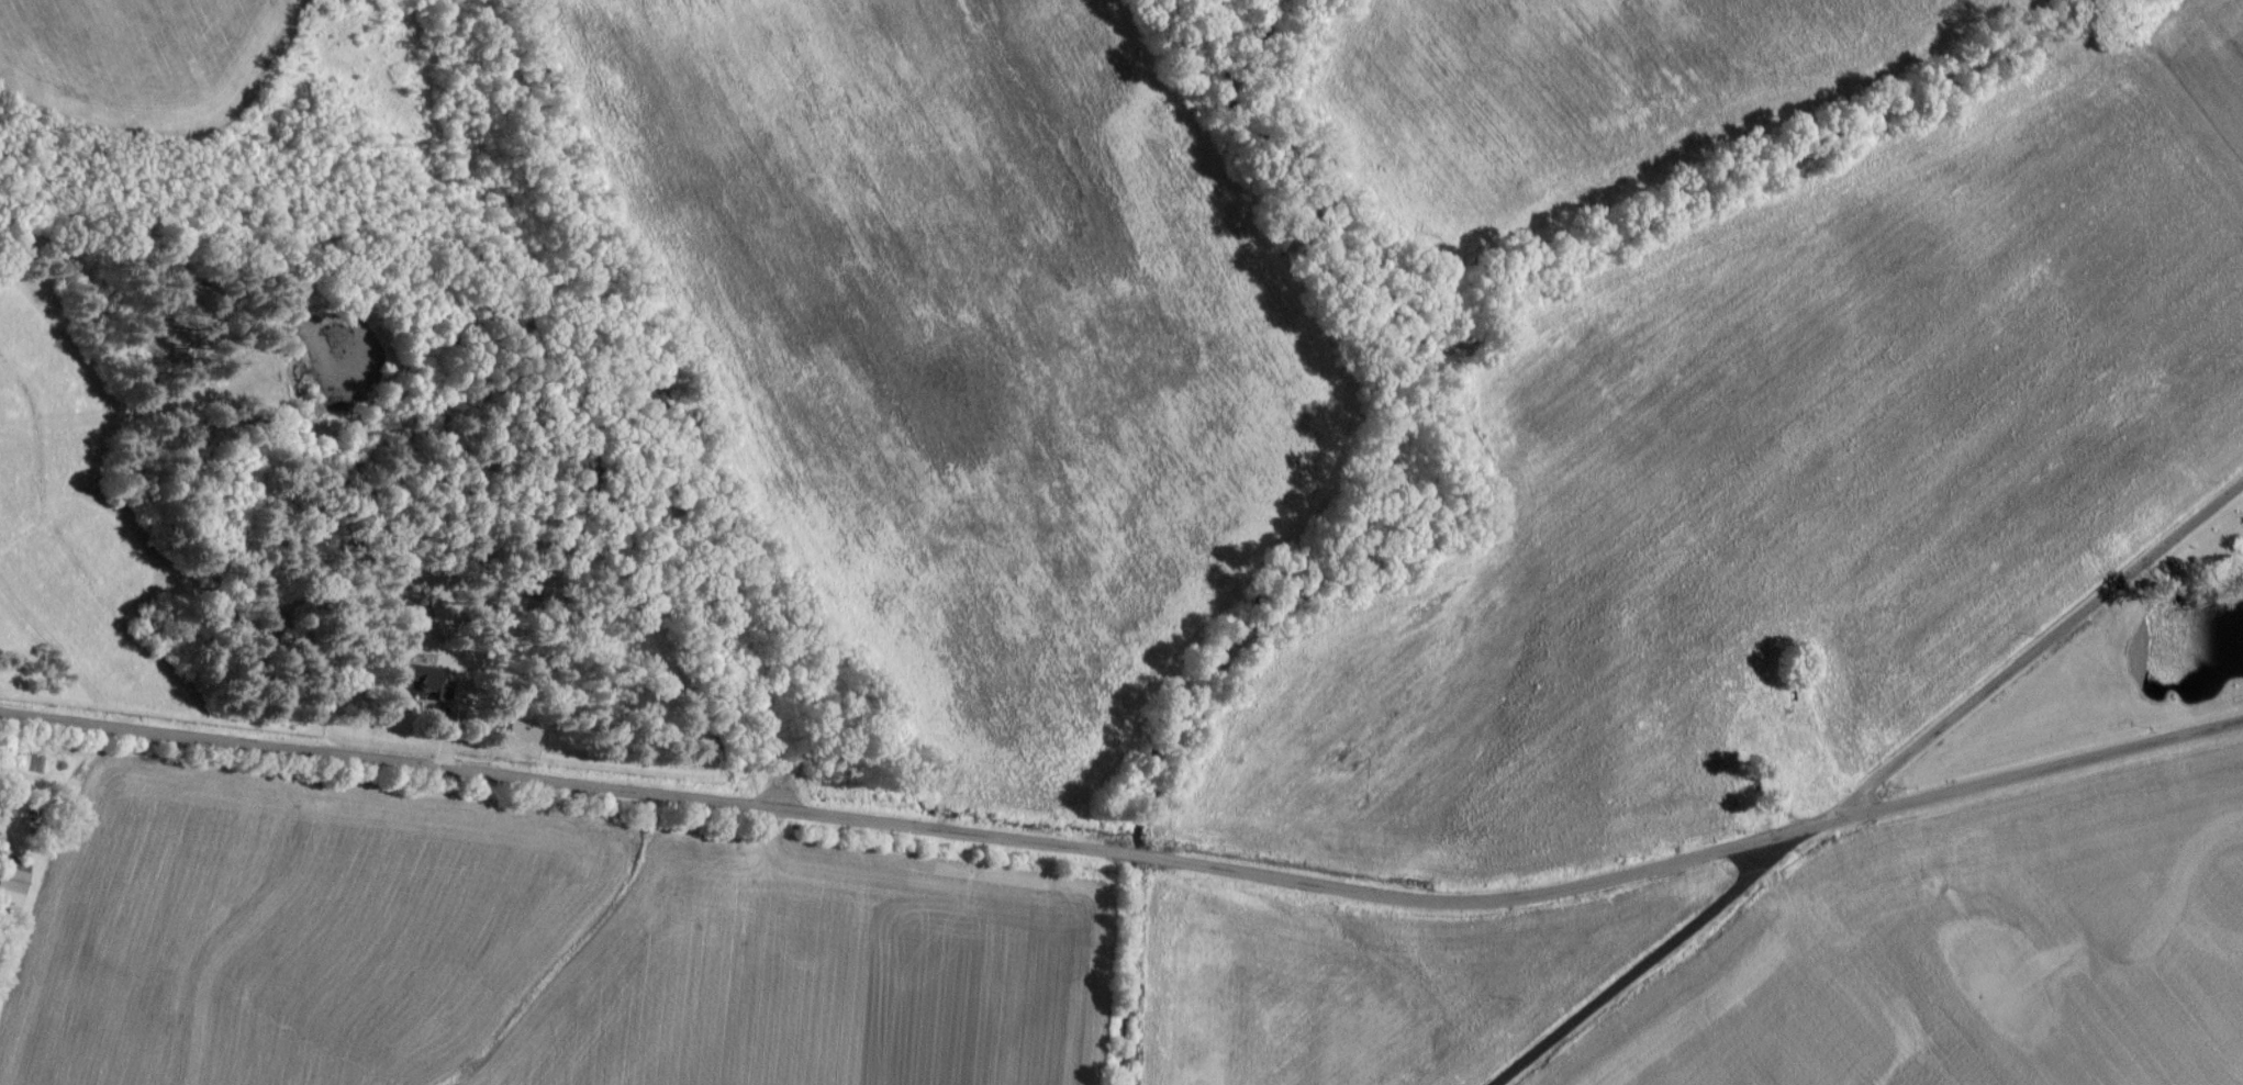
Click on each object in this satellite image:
building: (424, 689)
road: (1874, 787)
road: (572, 790)
building: (0, 858)
road: (1697, 863)
building: (12, 887)

